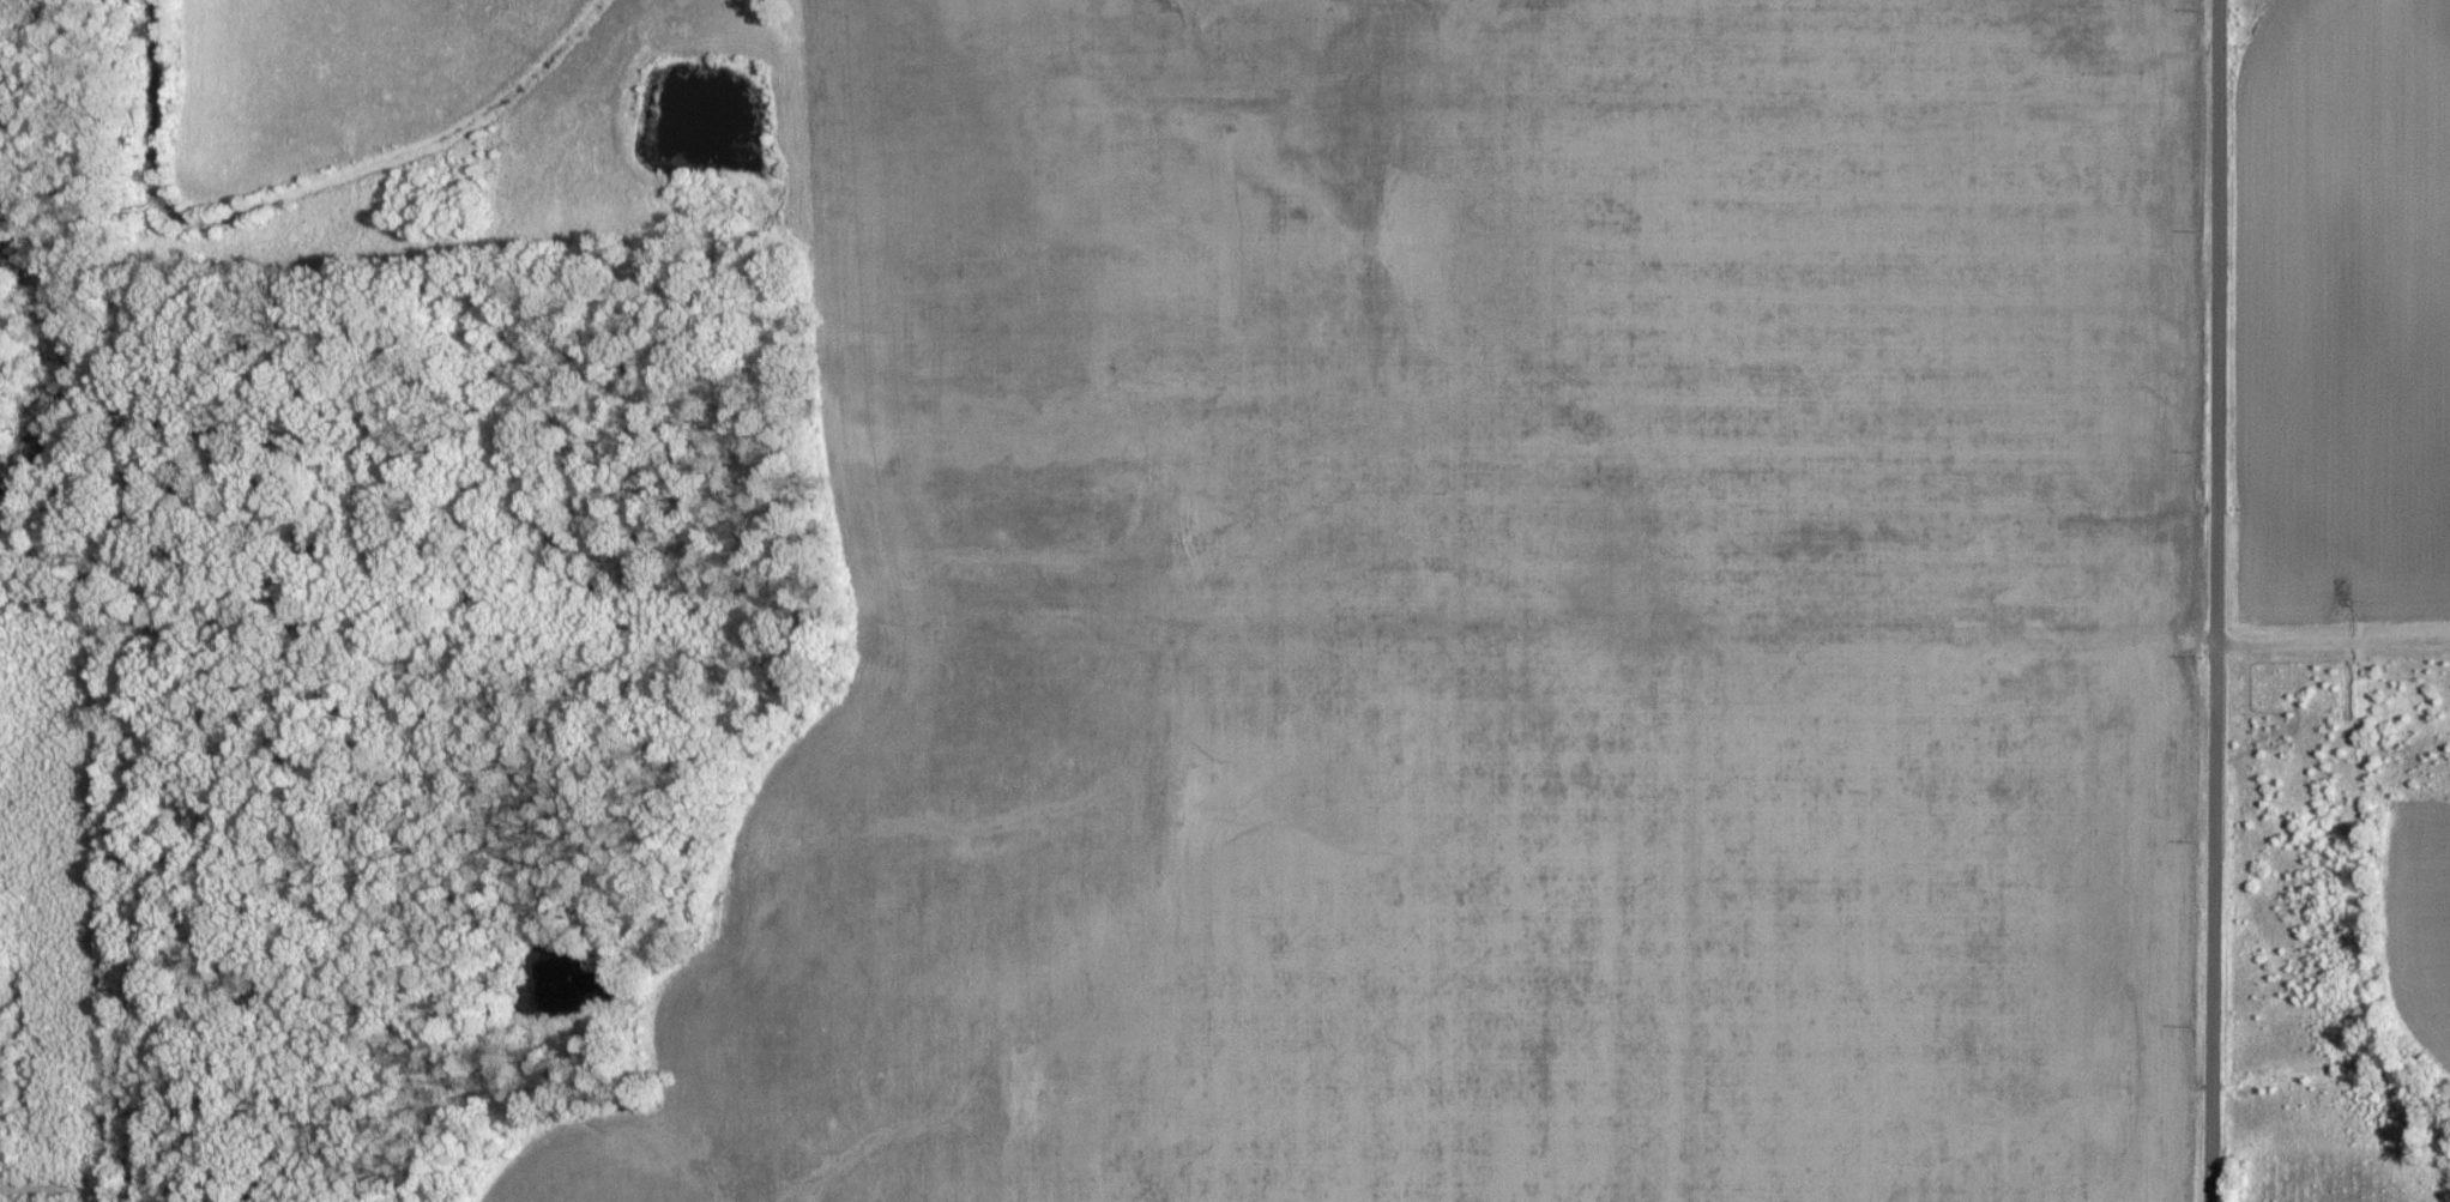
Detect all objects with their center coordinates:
road: (2215, 600)
road: (2333, 641)

